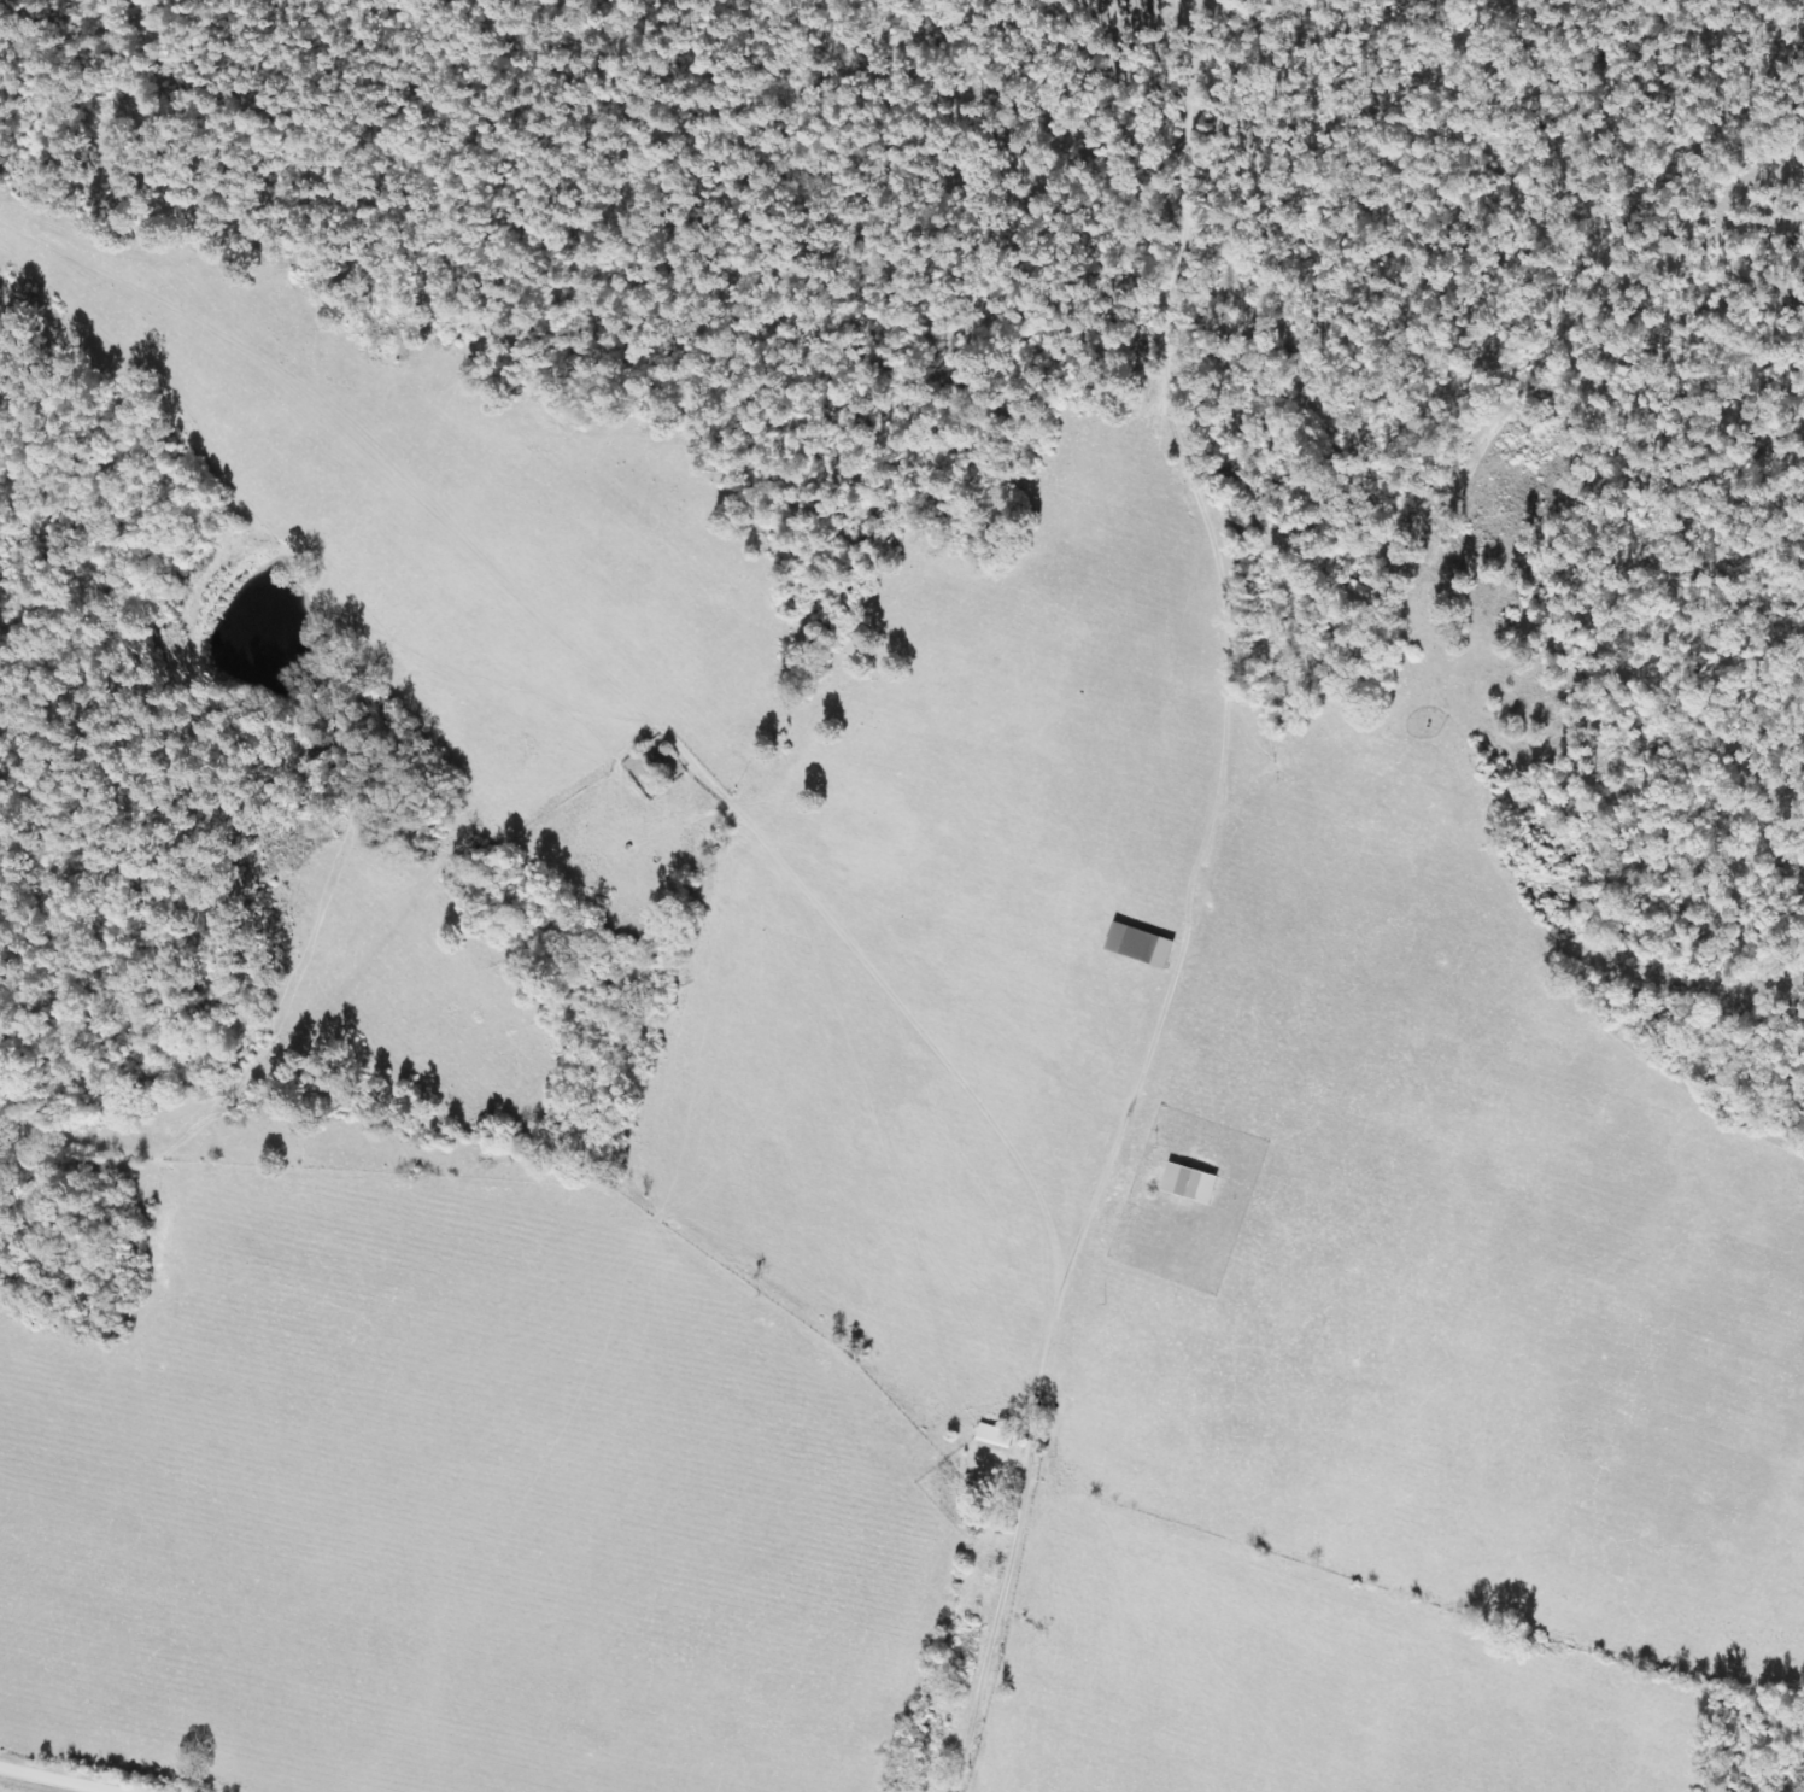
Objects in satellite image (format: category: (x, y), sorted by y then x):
road: (1164, 913)
building: (1141, 945)
building: (1190, 1183)
road: (107, 1768)
road: (136, 1784)
road: (896, 1788)

